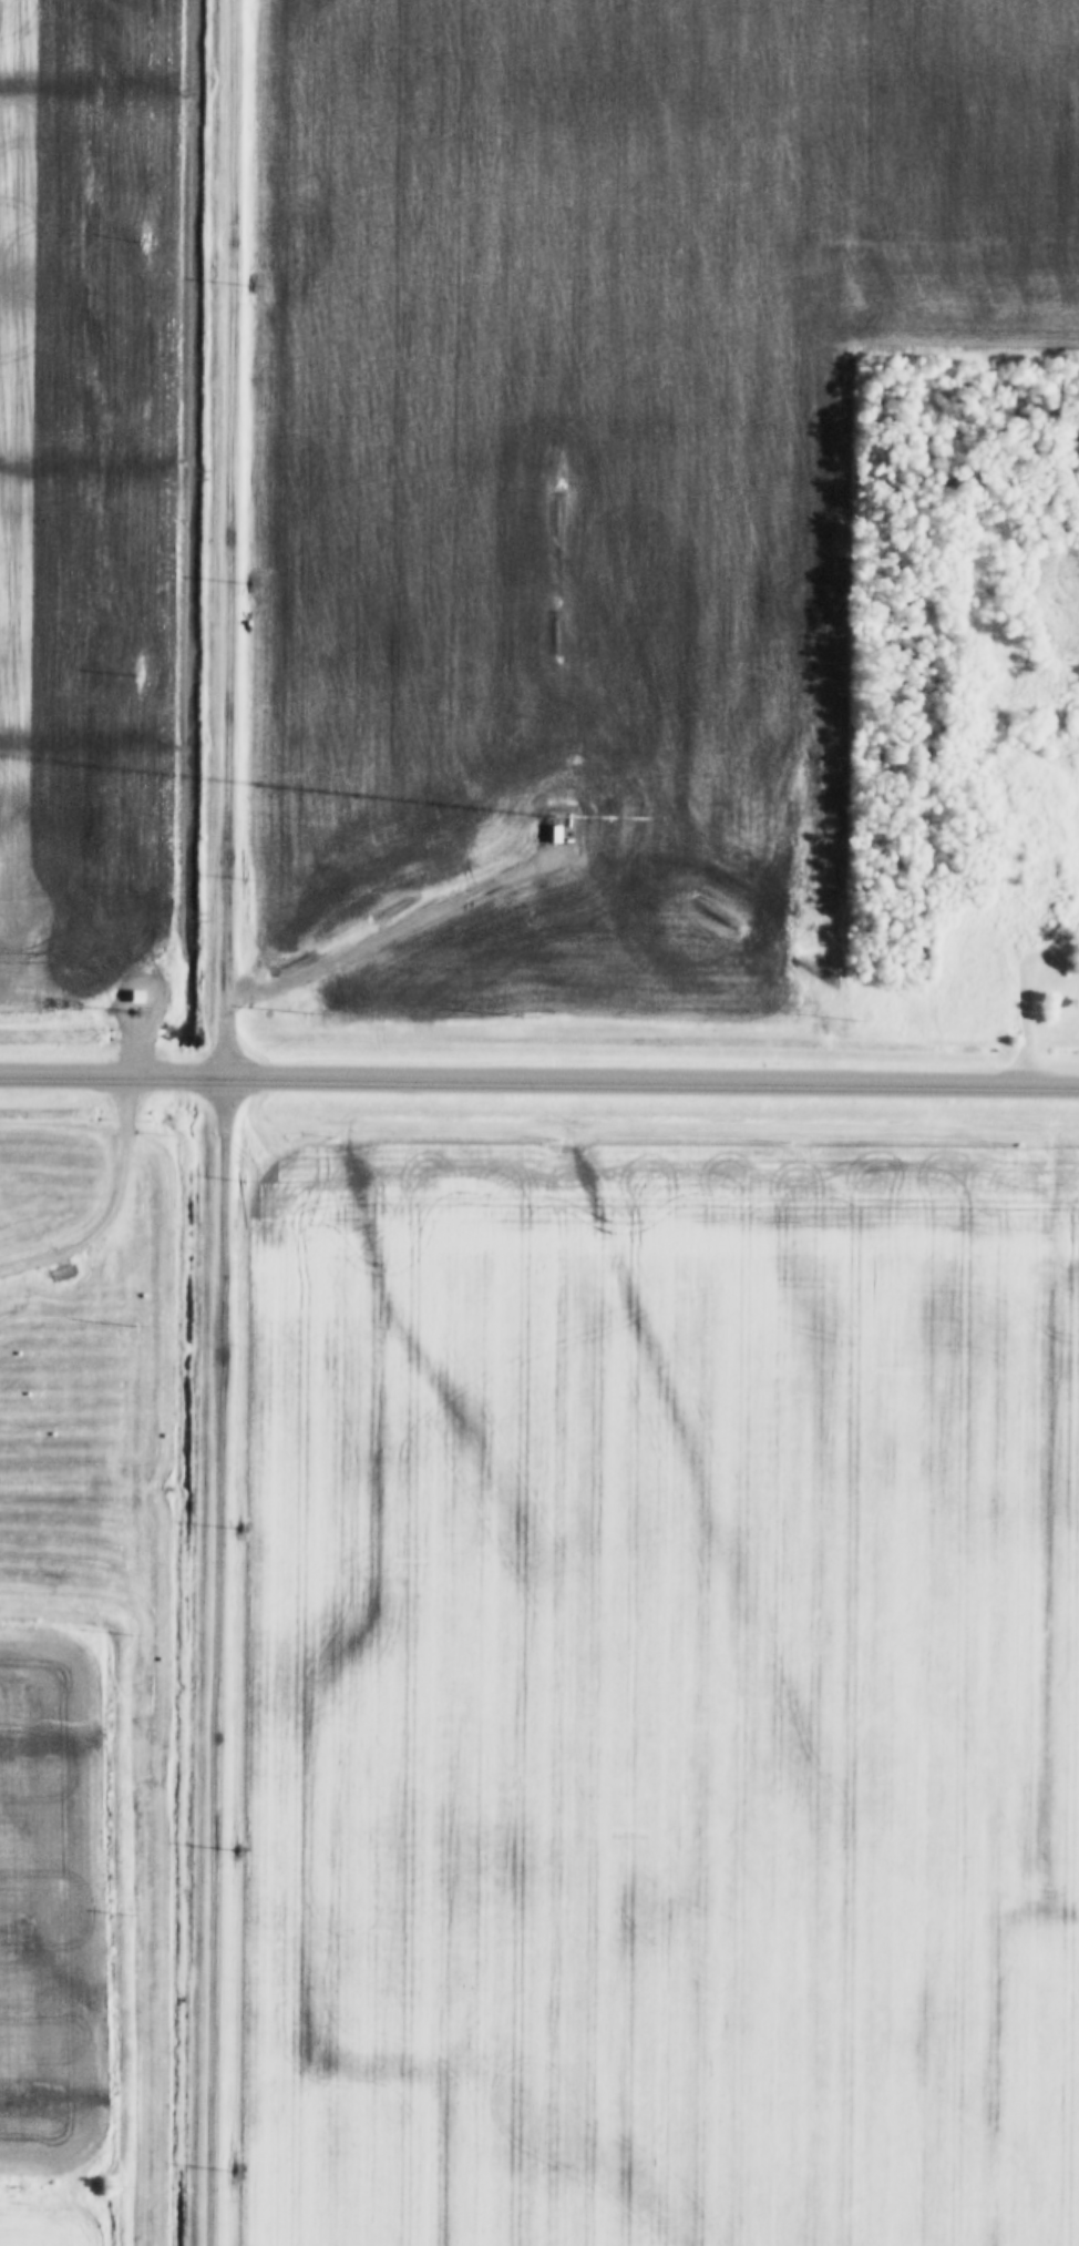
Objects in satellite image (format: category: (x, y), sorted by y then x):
building: (567, 824)
building: (548, 837)
road: (393, 936)
power tower: (122, 992)
building: (141, 1000)
road: (538, 1081)
road: (225, 1122)
road: (113, 1212)
crop: (50, 1926)

